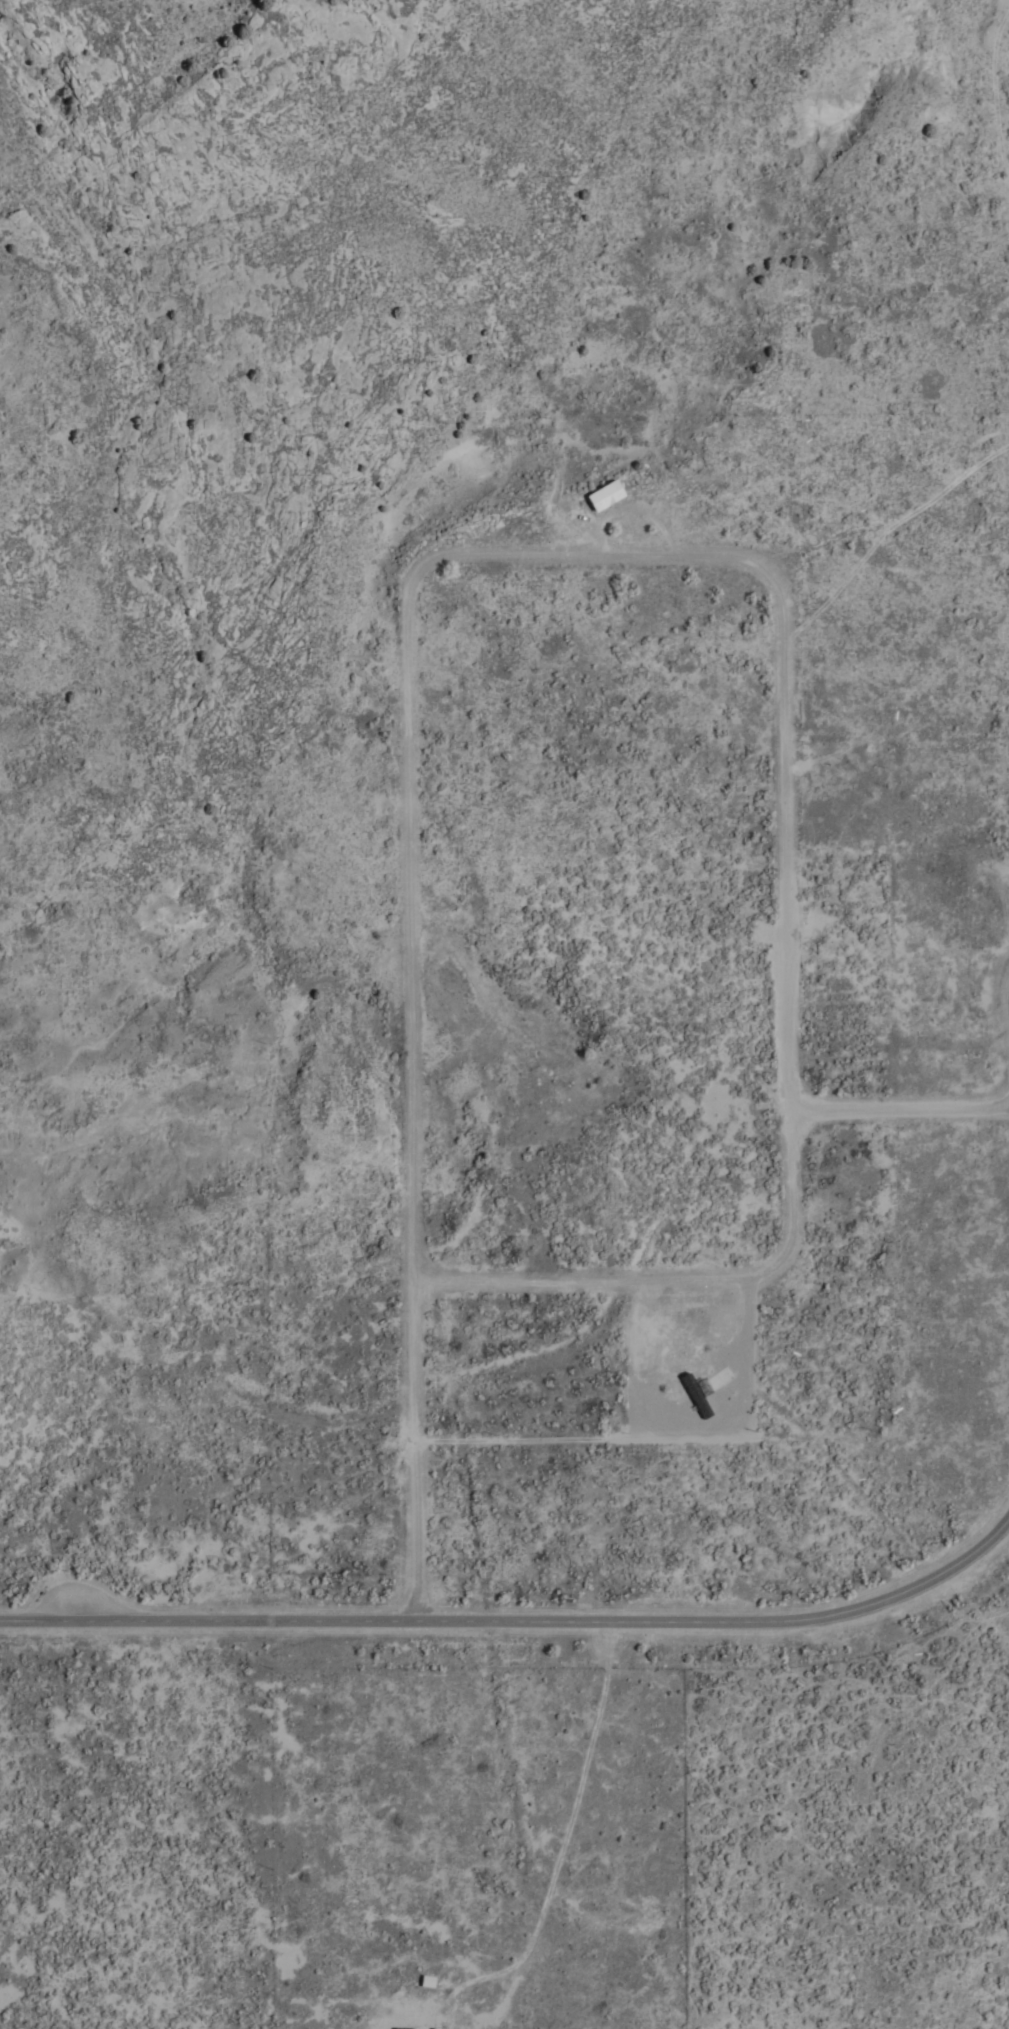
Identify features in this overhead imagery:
building: (602, 496)
road: (574, 554)
road: (787, 918)
road: (410, 1107)
road: (899, 1111)
road: (593, 1282)
road: (518, 1622)
building: (426, 1983)

